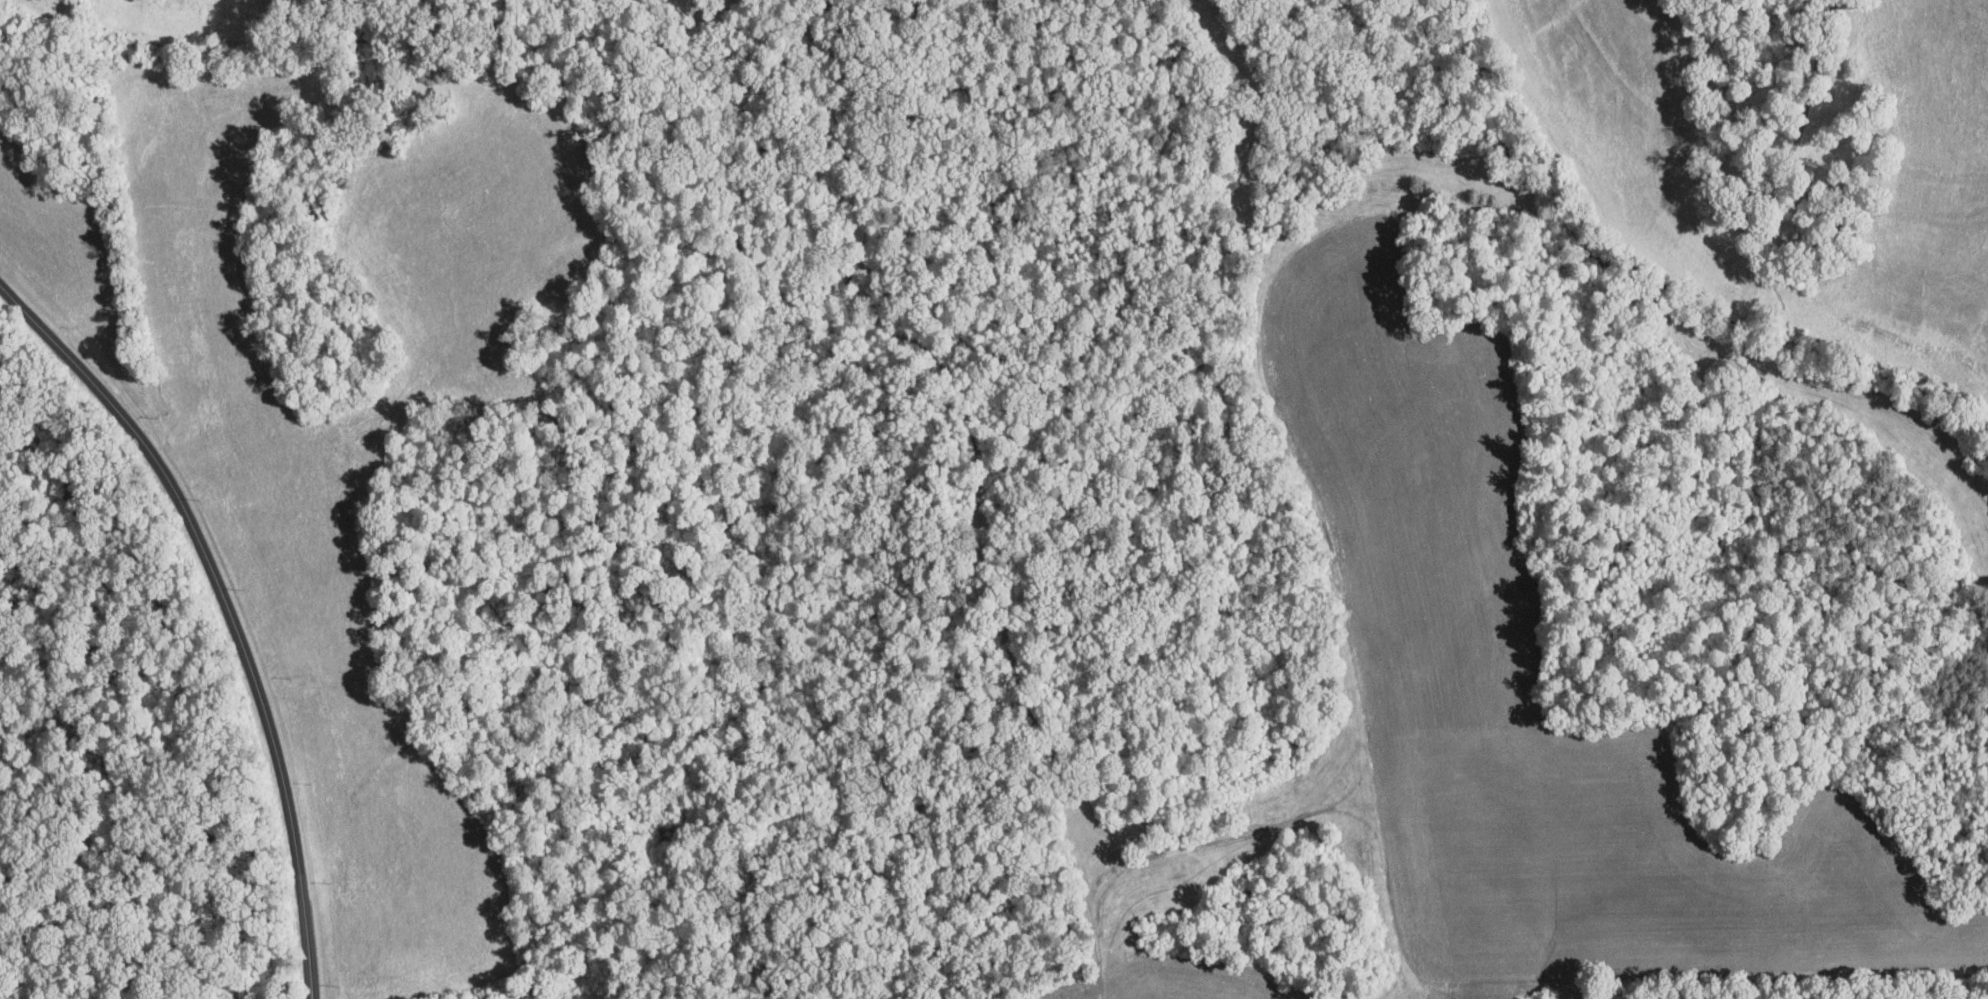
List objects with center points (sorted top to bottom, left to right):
road: (229, 608)

